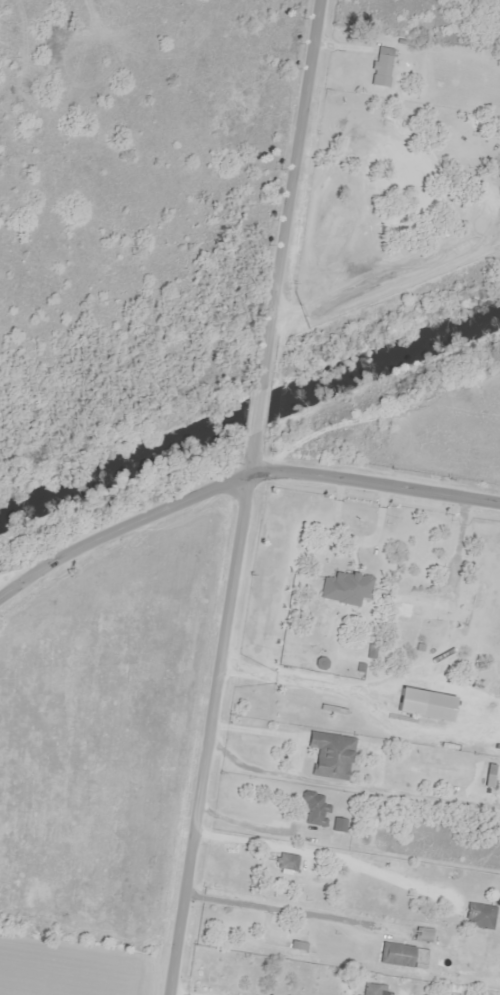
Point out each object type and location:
building: (381, 66)
building: (454, 134)
building: (350, 208)
road: (243, 497)
road: (240, 499)
building: (345, 588)
building: (412, 603)
building: (329, 755)
building: (314, 811)
building: (337, 824)
road: (329, 857)
building: (285, 861)
road: (273, 909)
road: (485, 909)
building: (478, 915)
building: (421, 934)
building: (395, 954)
building: (368, 989)

